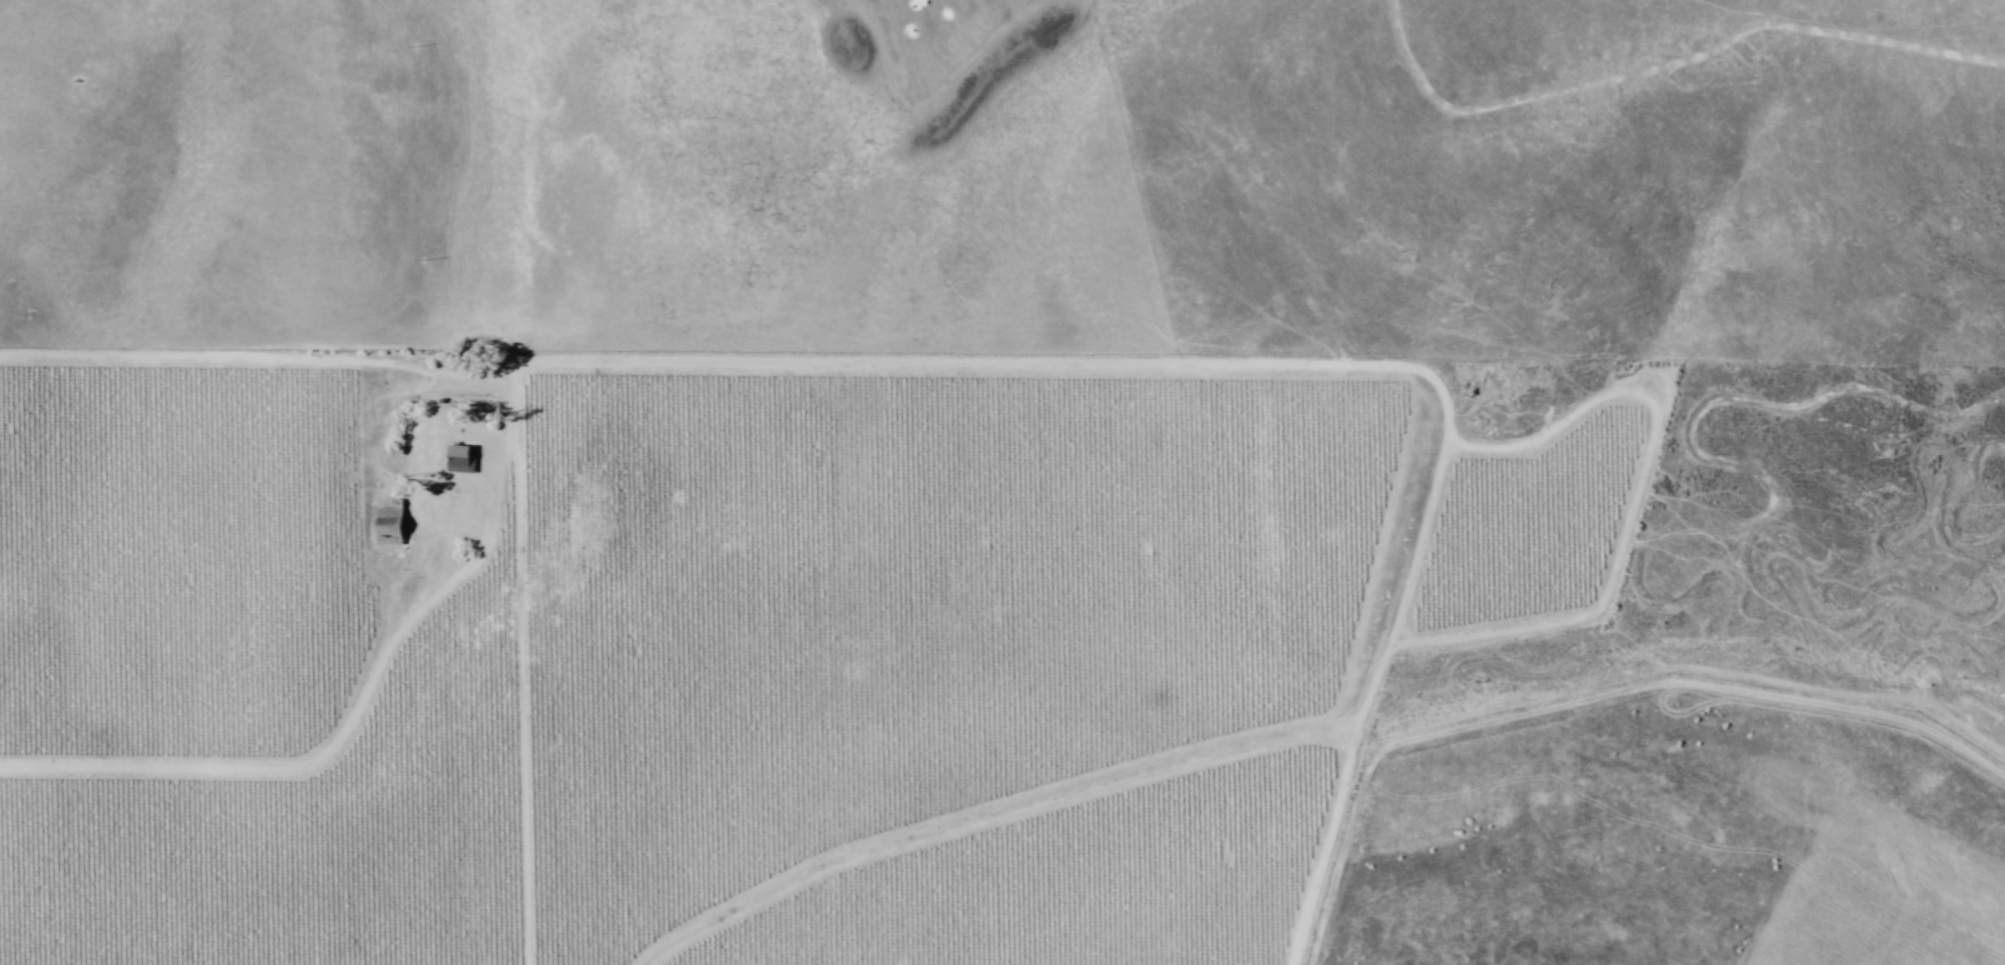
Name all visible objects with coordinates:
road: (744, 177)
building: (464, 459)
building: (393, 521)
crop: (741, 638)
road: (1045, 805)

